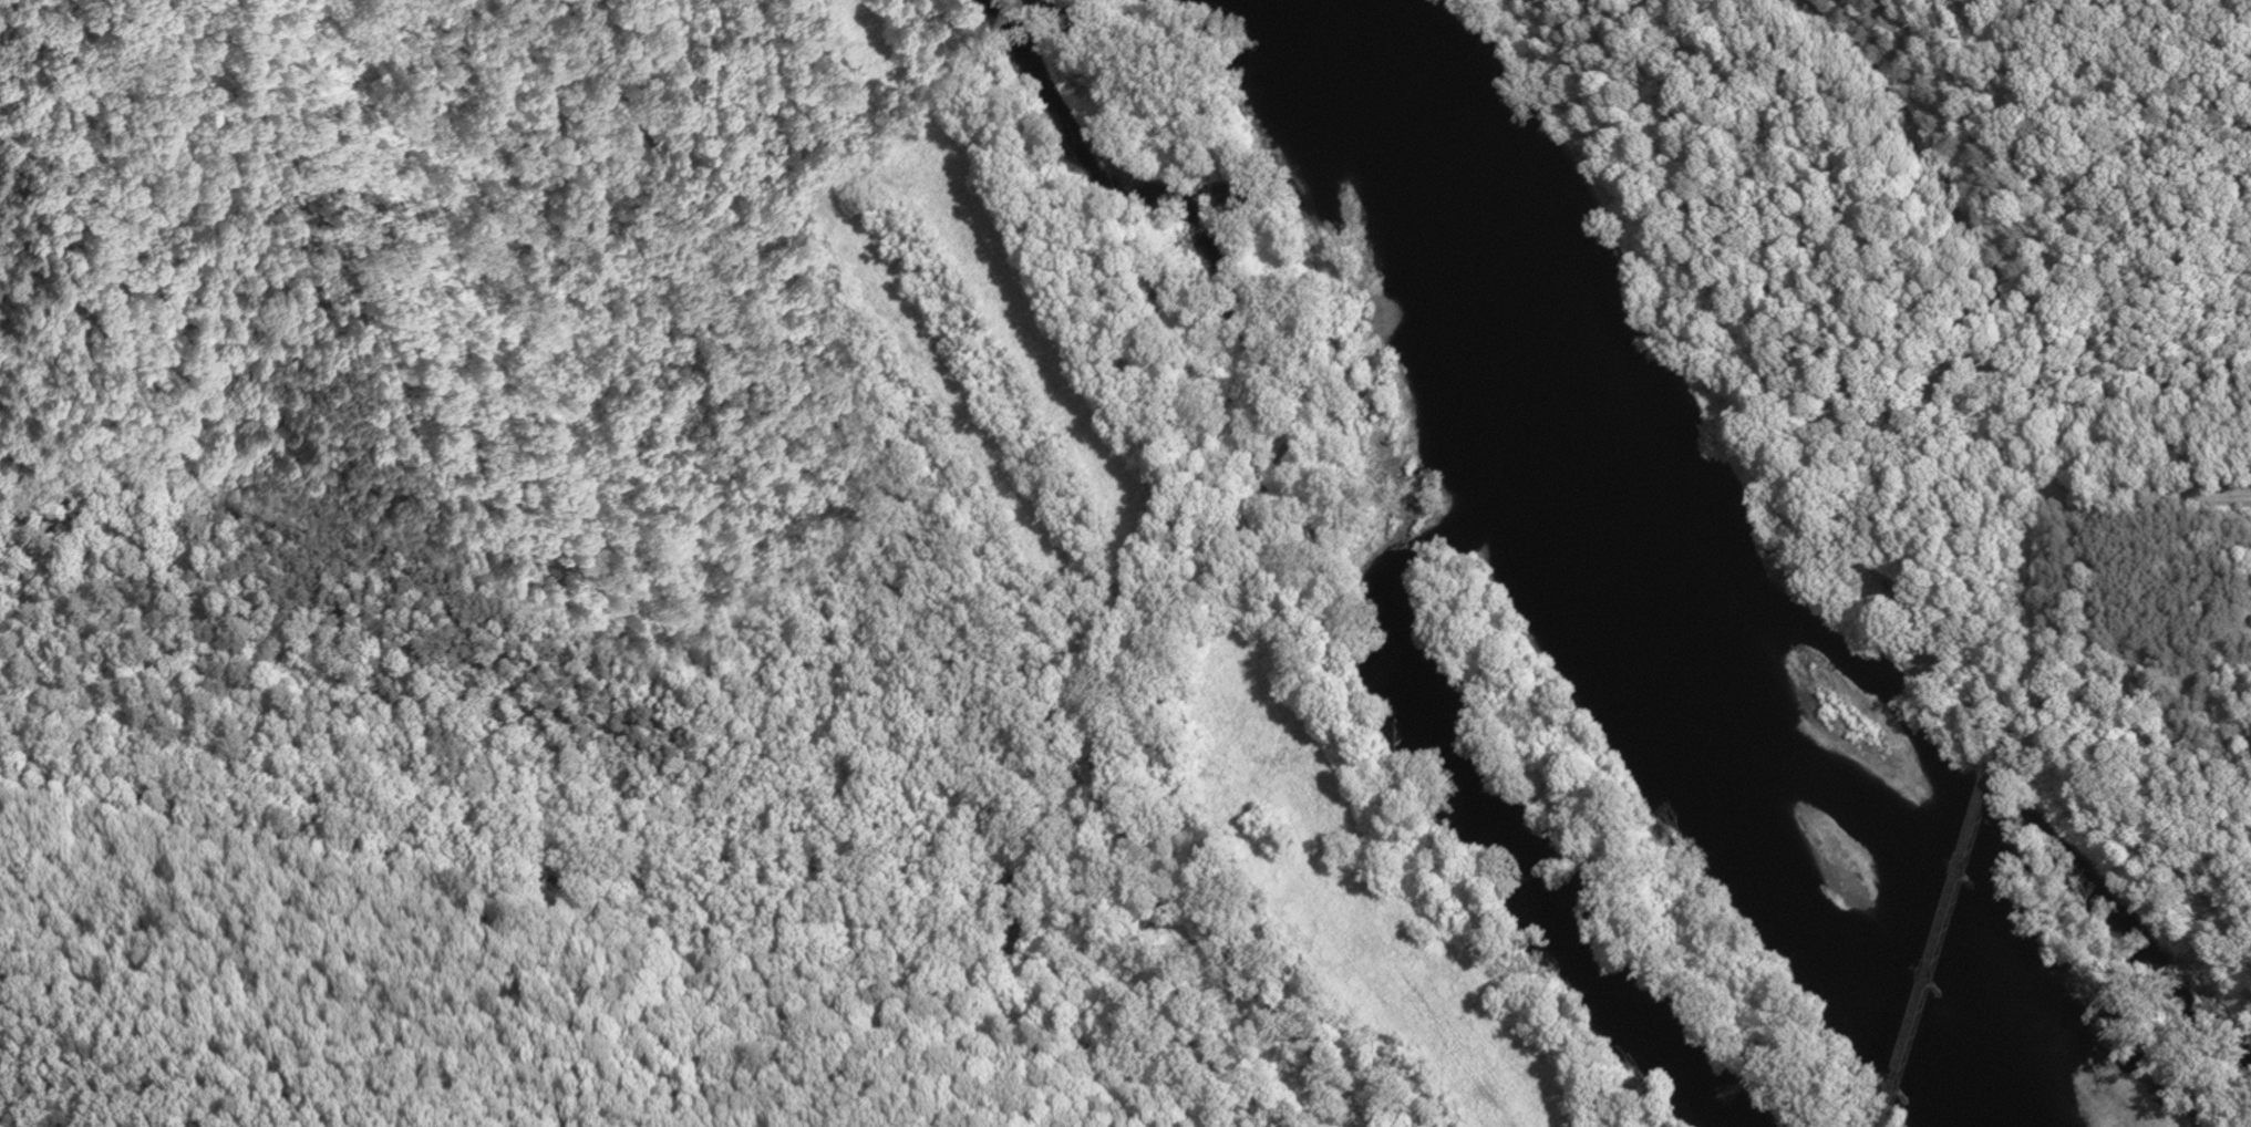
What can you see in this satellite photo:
road: (1959, 219)
road: (2142, 497)
river: (1646, 577)
road: (939, 583)

